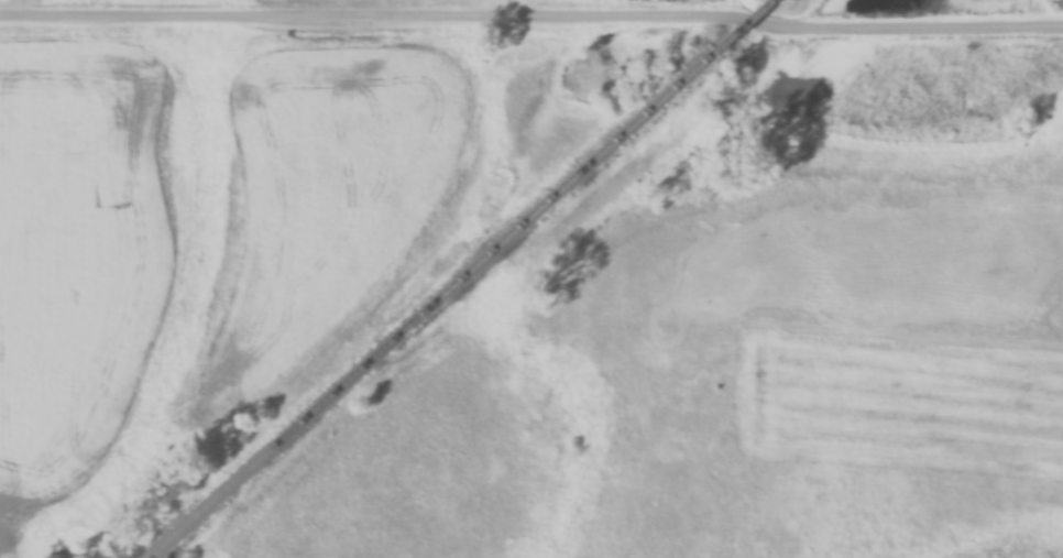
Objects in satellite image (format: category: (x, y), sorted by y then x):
road: (531, 10)
railway: (752, 24)
railway: (437, 303)

